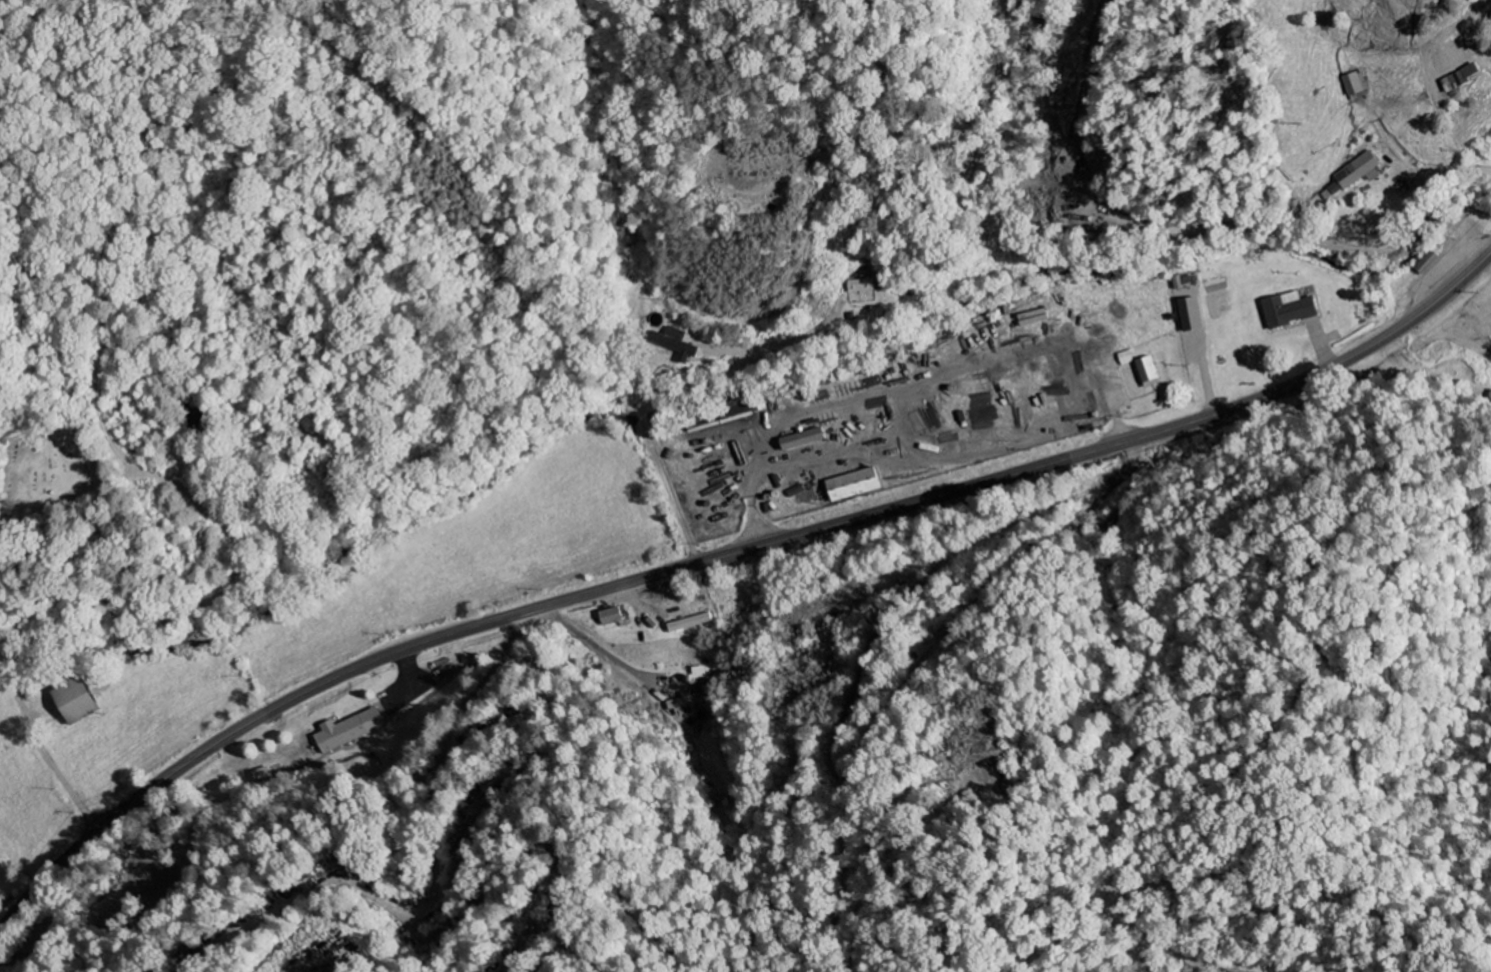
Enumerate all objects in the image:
building: (1353, 84)
building: (1357, 172)
road: (1207, 205)
building: (861, 285)
building: (1284, 309)
building: (1187, 314)
building: (677, 344)
building: (1123, 358)
building: (1143, 371)
park: (47, 469)
building: (847, 485)
road: (748, 487)
road: (726, 554)
building: (604, 616)
building: (686, 623)
building: (697, 672)
building: (73, 702)
building: (682, 703)
building: (343, 730)
road: (43, 754)

